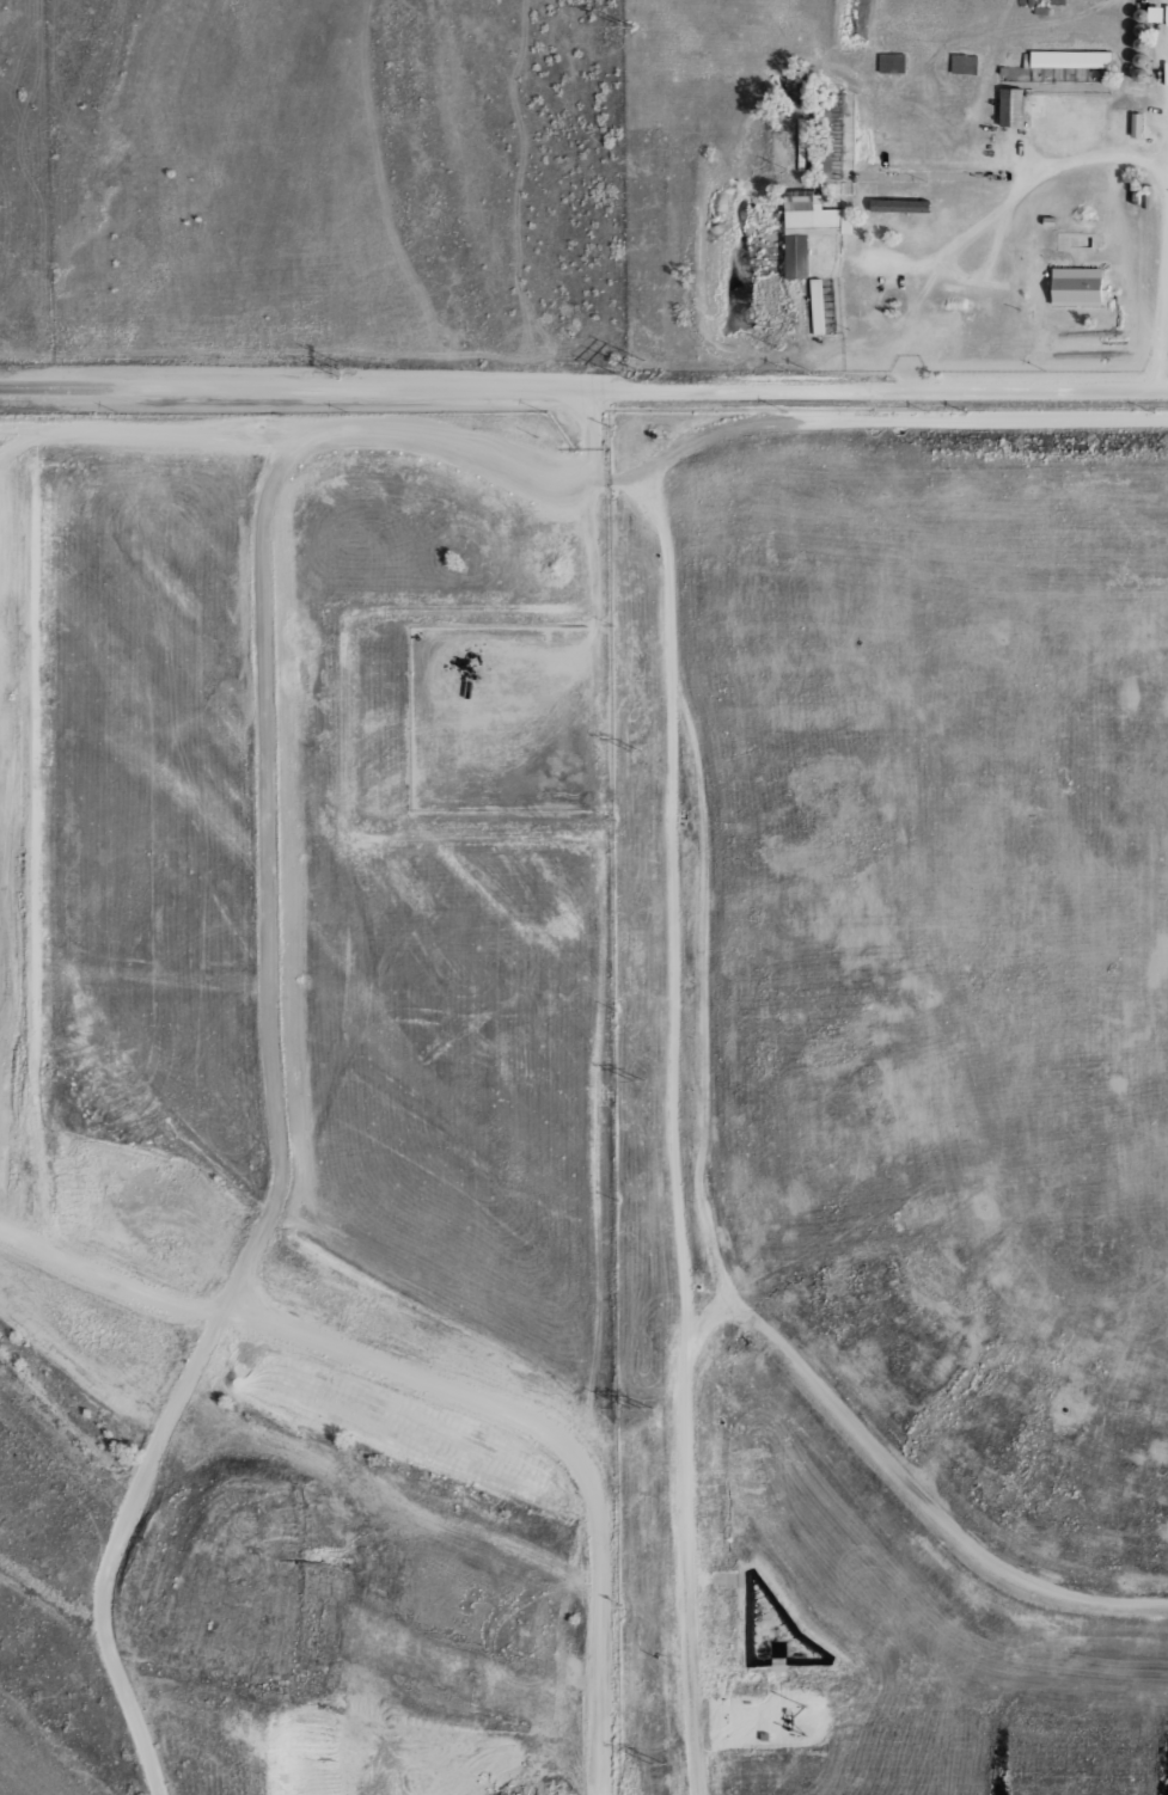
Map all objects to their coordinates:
building: (1021, 2)
building: (1028, 2)
building: (1056, 2)
building: (1040, 10)
building: (1142, 13)
building: (1157, 13)
power tower: (628, 27)
building: (1142, 29)
building: (1142, 43)
building: (1069, 57)
building: (1142, 57)
building: (962, 62)
building: (891, 63)
building: (1141, 73)
road: (980, 100)
building: (1011, 106)
building: (1137, 123)
road: (1072, 159)
building: (1136, 185)
building: (900, 204)
building: (807, 227)
building: (1025, 249)
road: (944, 259)
building: (1032, 274)
road: (954, 276)
building: (1077, 286)
building: (817, 305)
road: (1163, 325)
power tower: (340, 368)
power tower: (634, 369)
road: (304, 388)
road: (887, 388)
road: (887, 413)
road: (48, 435)
road: (587, 437)
road: (555, 483)
road: (263, 696)
power tower: (636, 752)
road: (668, 875)
road: (702, 1019)
power tower: (640, 1082)
landfill: (904, 1104)
road: (12, 1230)
road: (81, 1267)
power tower: (641, 1409)
road: (154, 1436)
road: (922, 1499)
road: (681, 1564)
building: (764, 1735)
power tower: (659, 1764)

